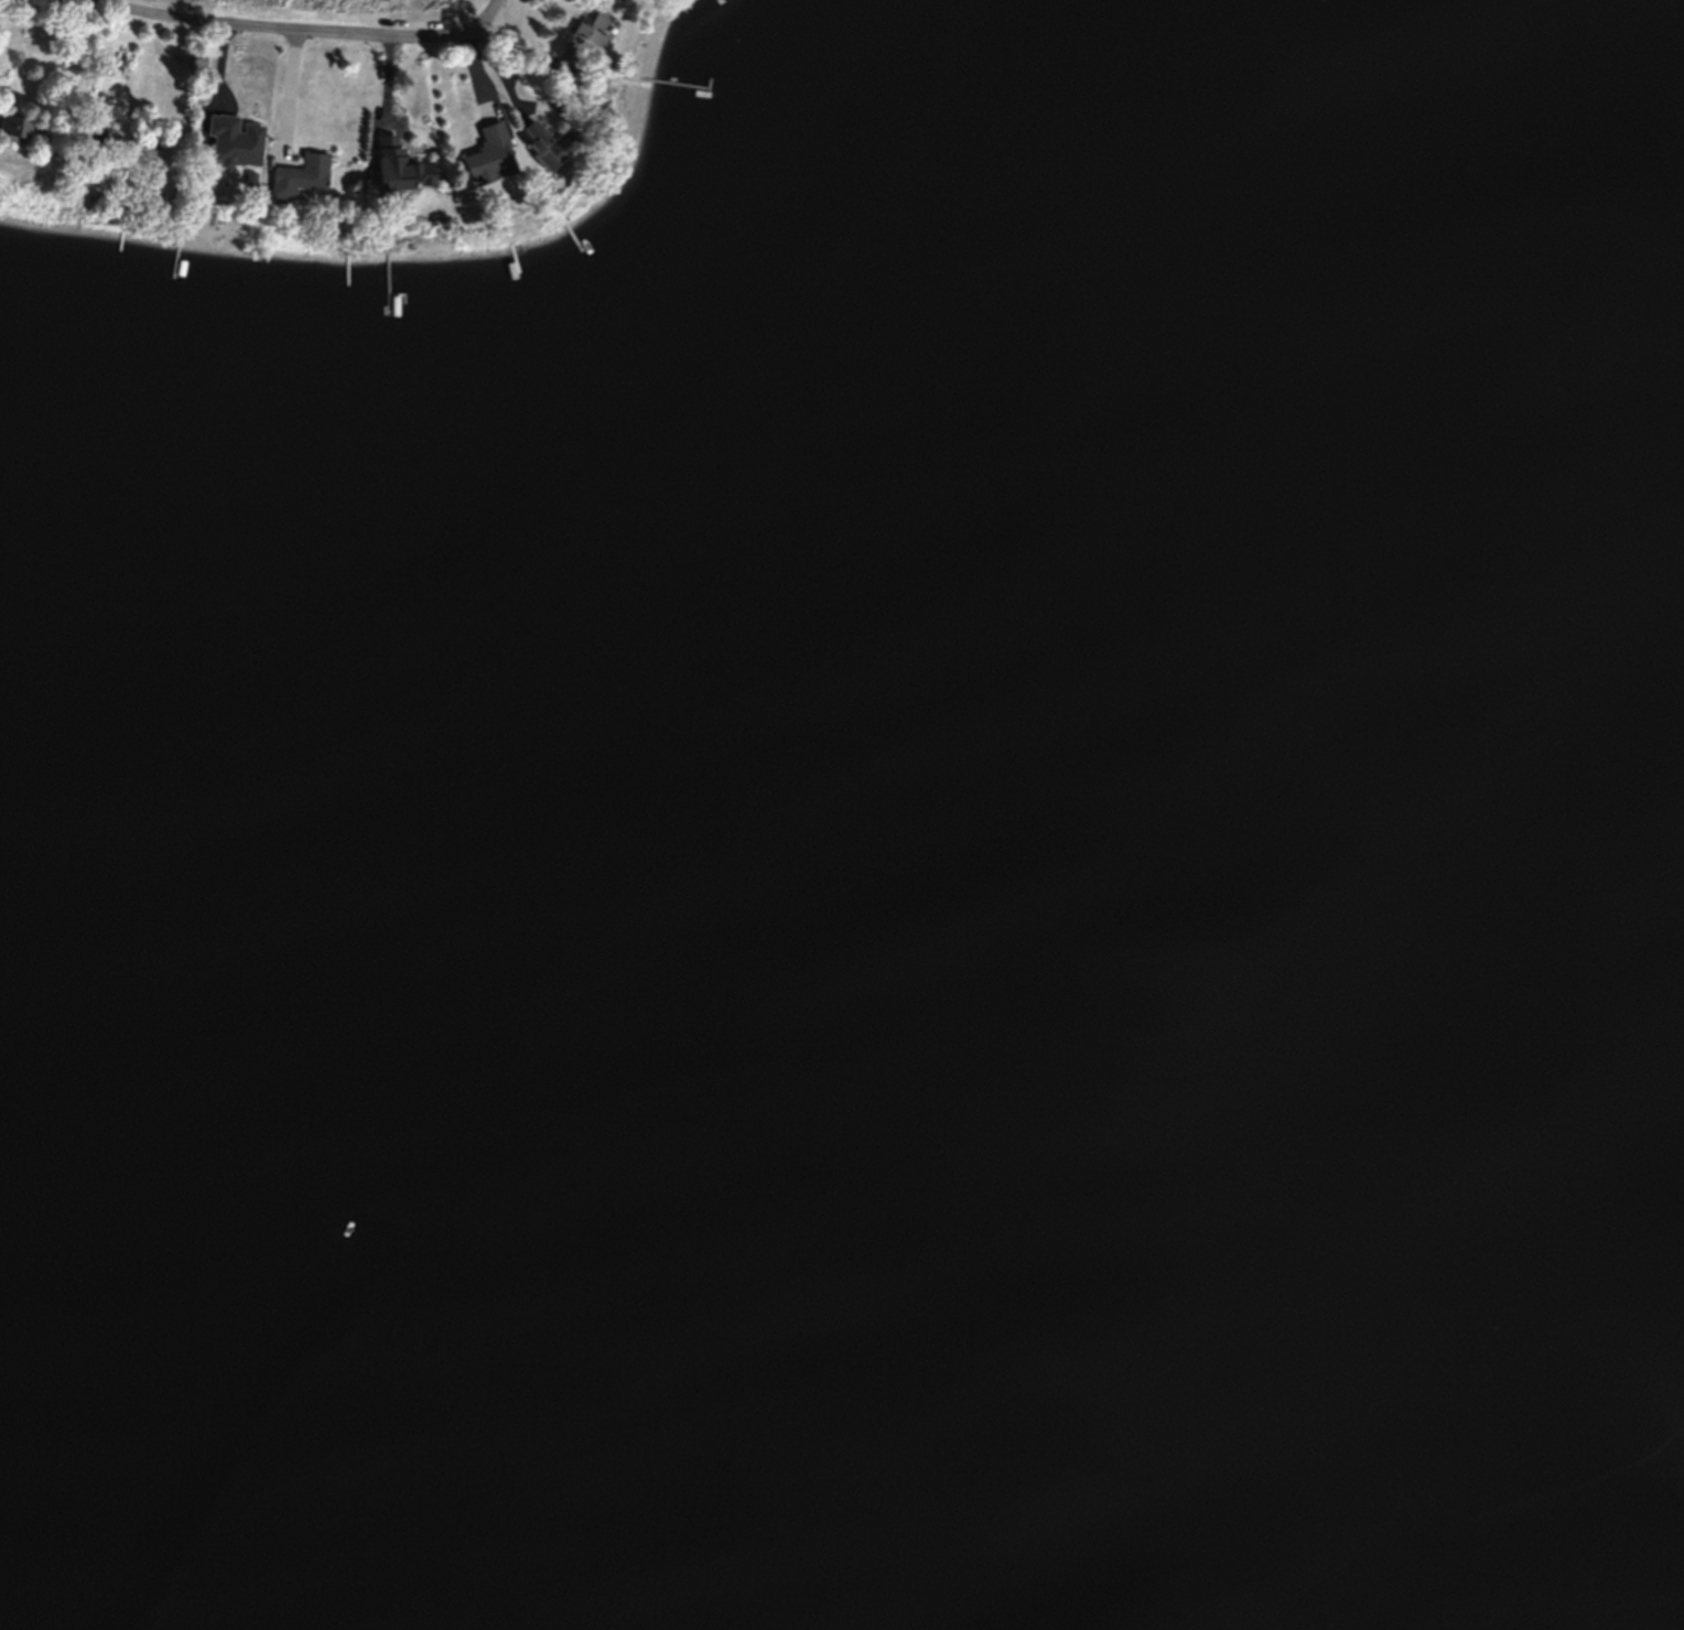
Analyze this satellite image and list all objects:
park: (337, 11)
road: (302, 28)
building: (585, 30)
road: (289, 89)
building: (13, 128)
building: (529, 143)
building: (476, 152)
building: (141, 155)
building: (388, 164)
building: (226, 175)
building: (293, 175)

